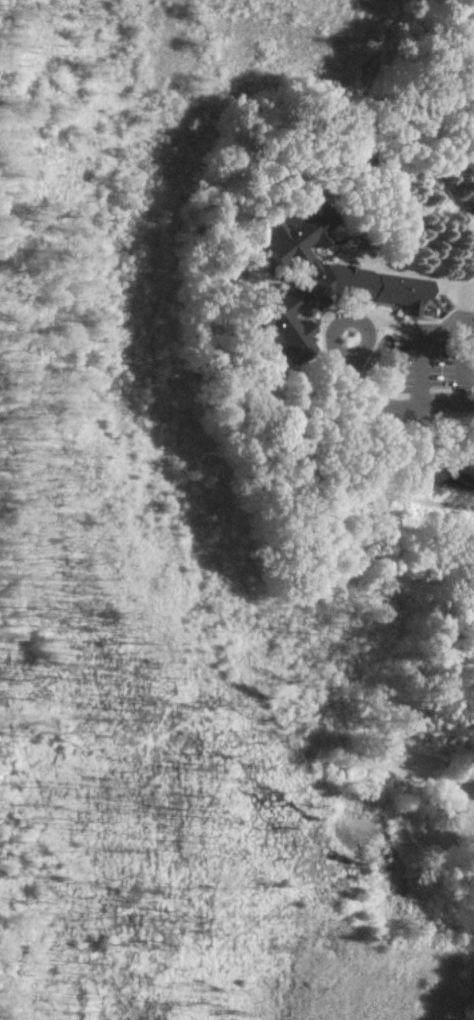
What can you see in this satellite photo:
building: (473, 218)
building: (335, 272)
building: (277, 326)
road: (440, 329)
road: (383, 410)

